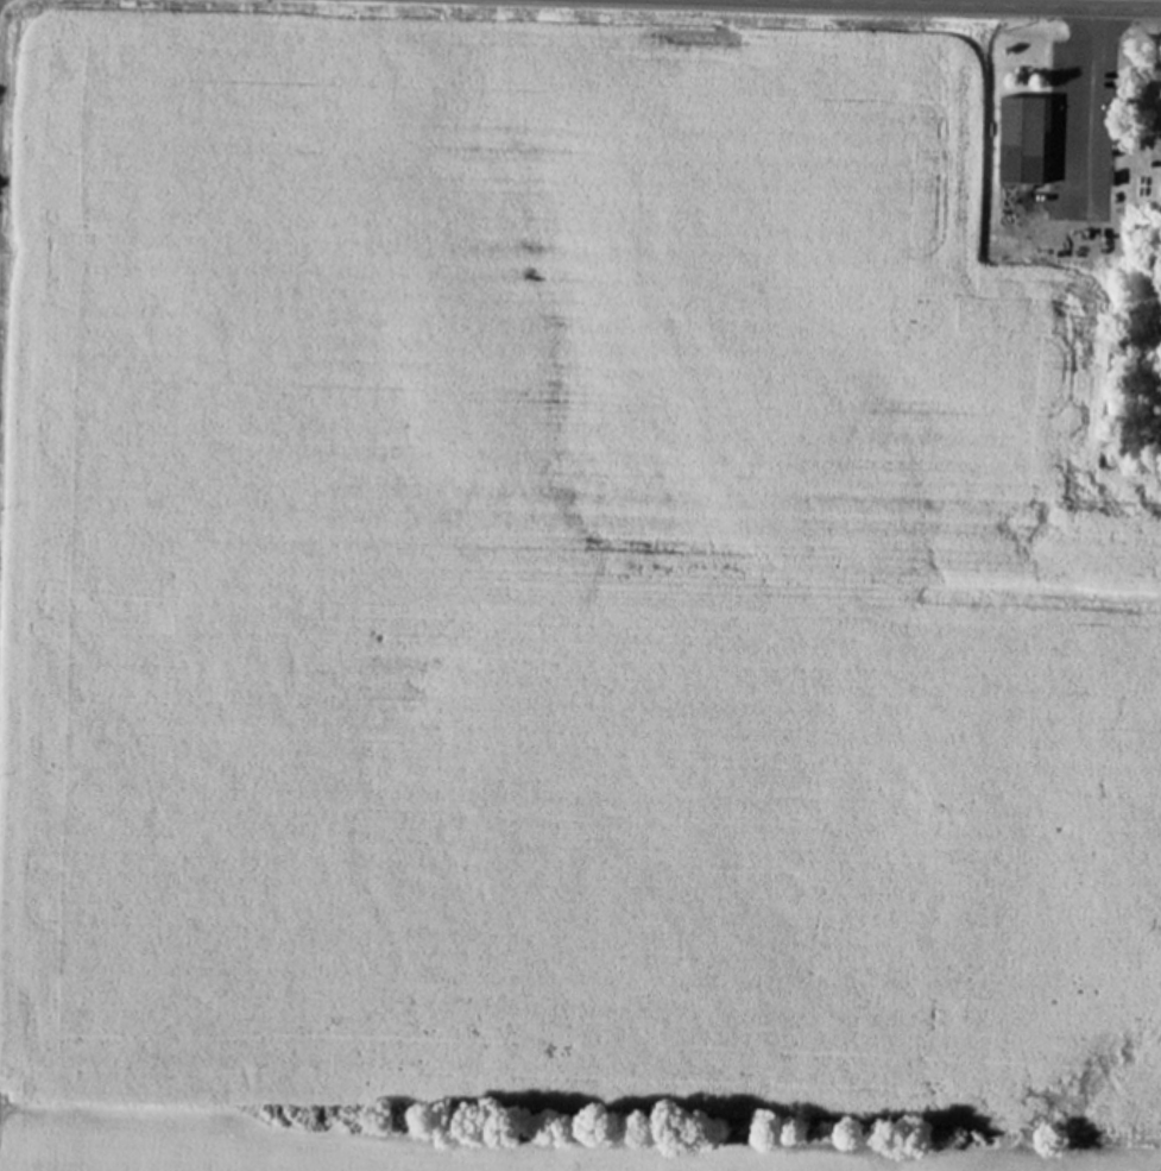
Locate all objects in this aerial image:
road: (1048, 2)
road: (1159, 33)
road: (1093, 71)
building: (1017, 138)

